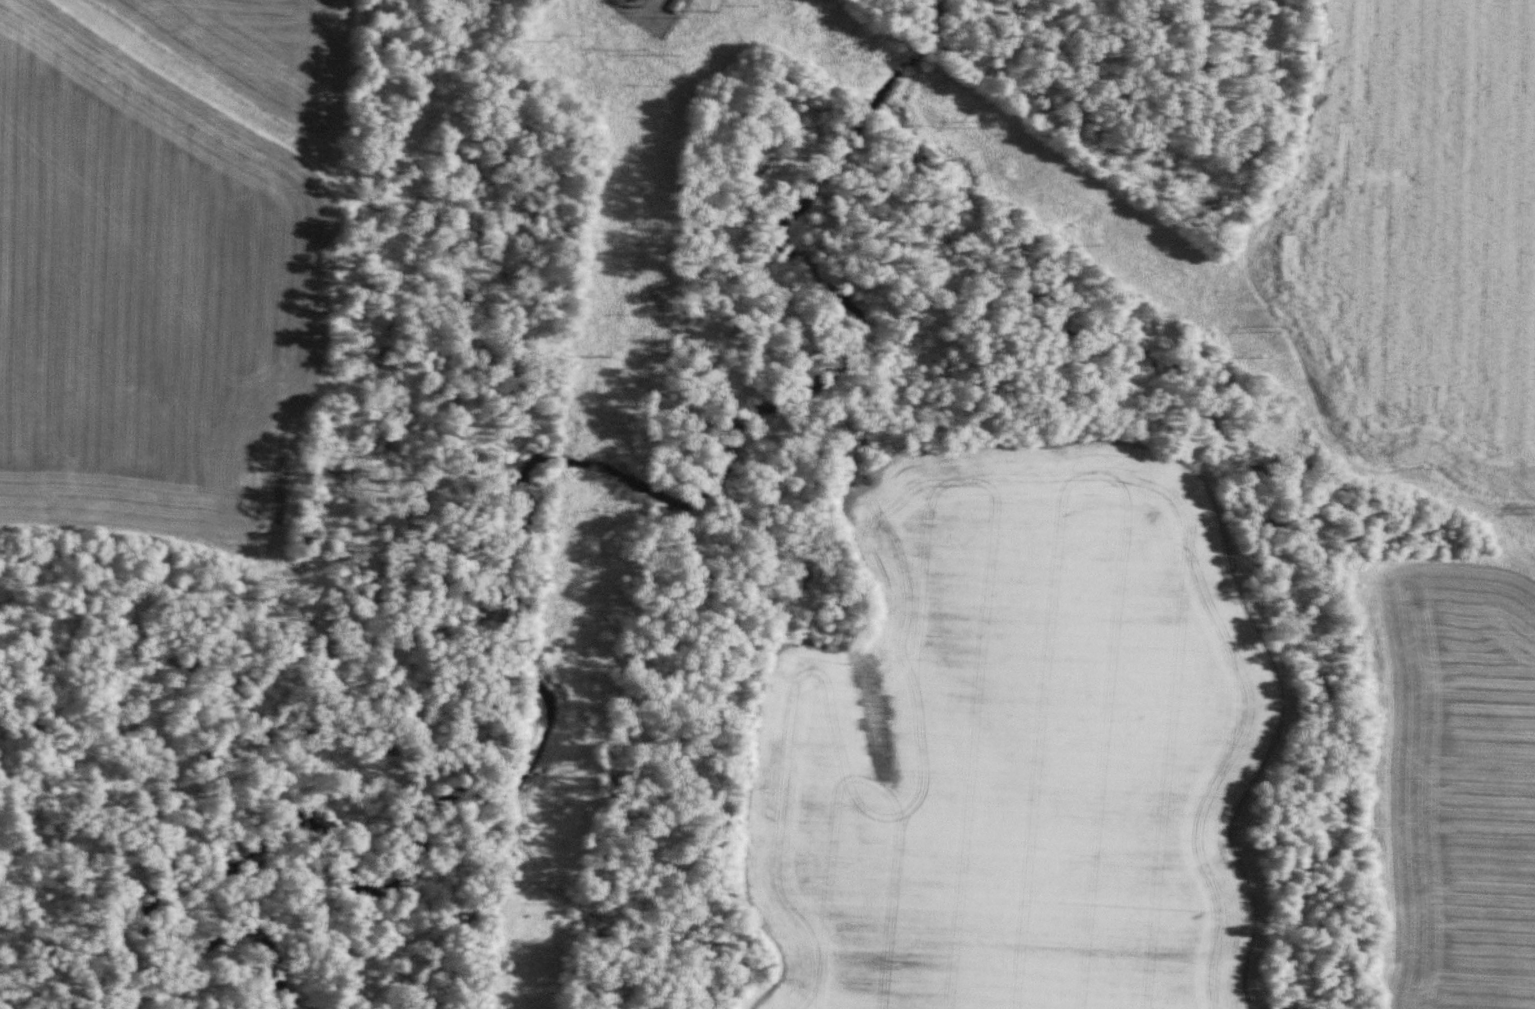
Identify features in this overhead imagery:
power substation: (652, 13)

